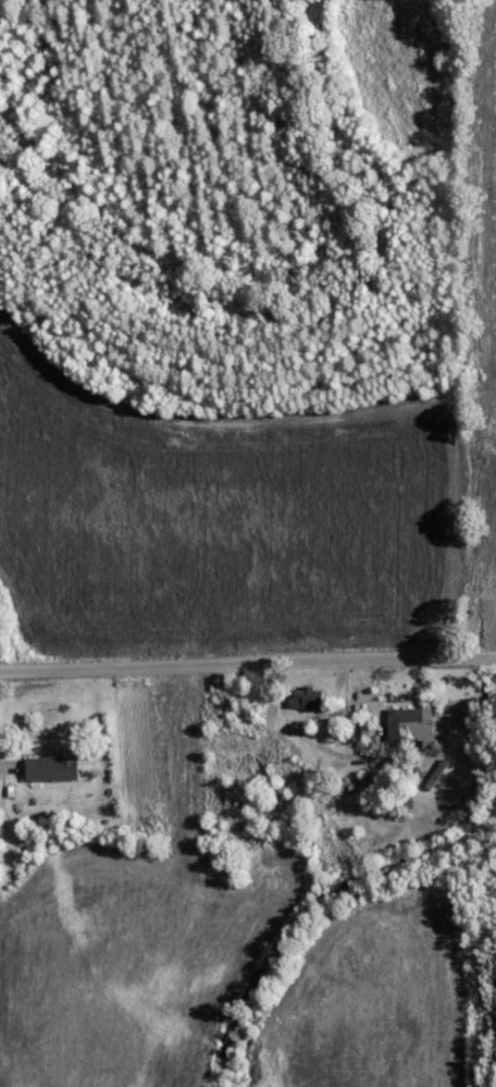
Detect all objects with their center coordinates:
building: (308, 697)
road: (248, 701)
building: (407, 724)
building: (252, 751)
building: (54, 769)

